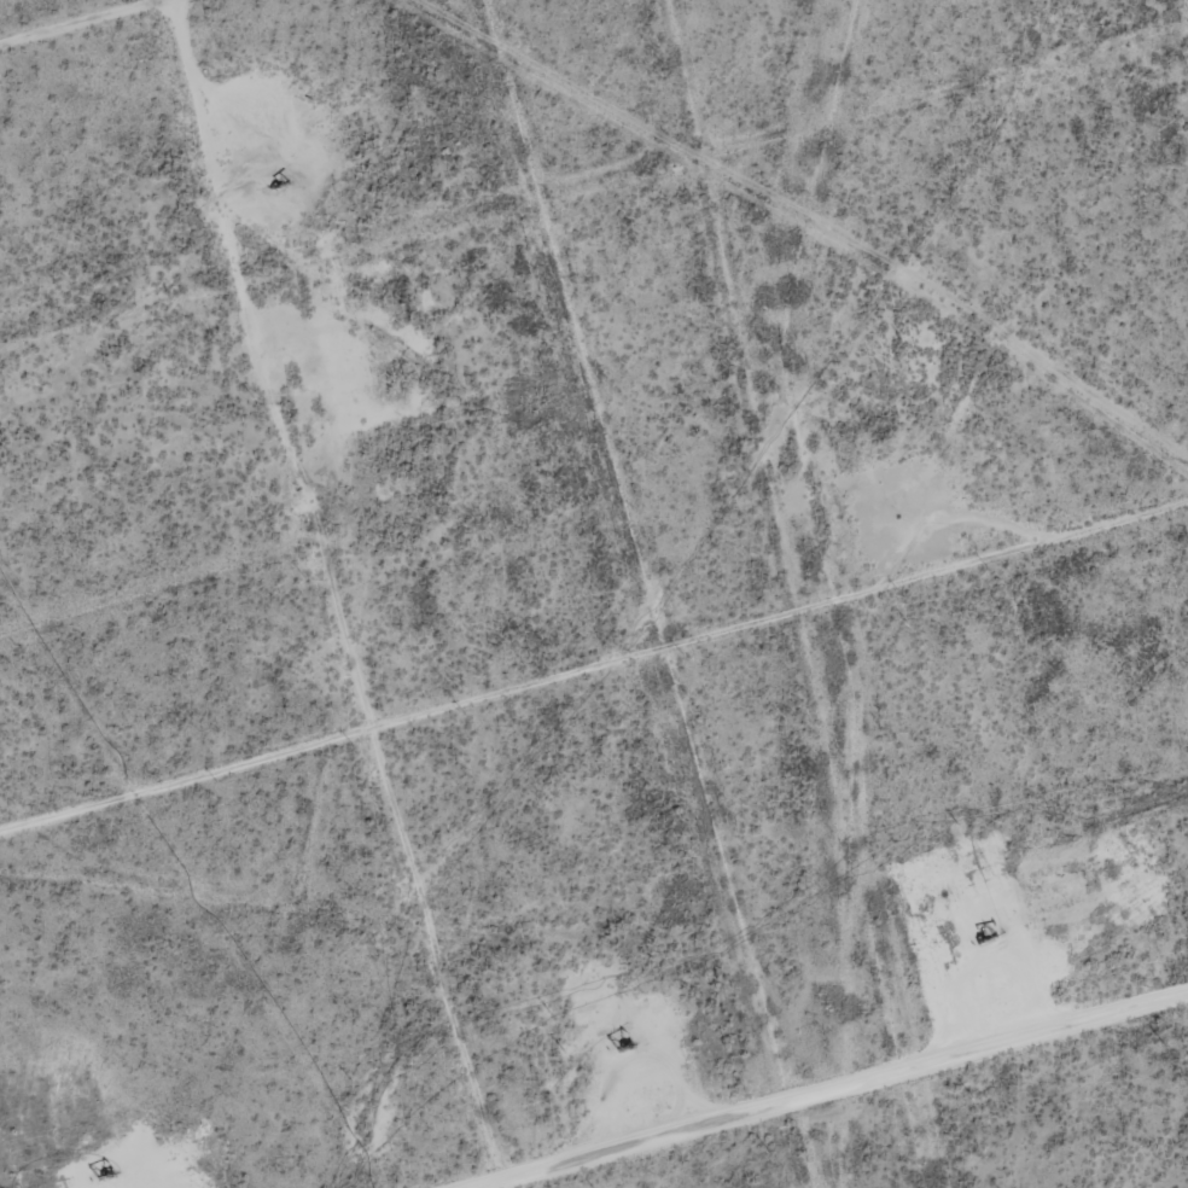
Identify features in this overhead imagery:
road: (150, 41)
road: (921, 1112)

